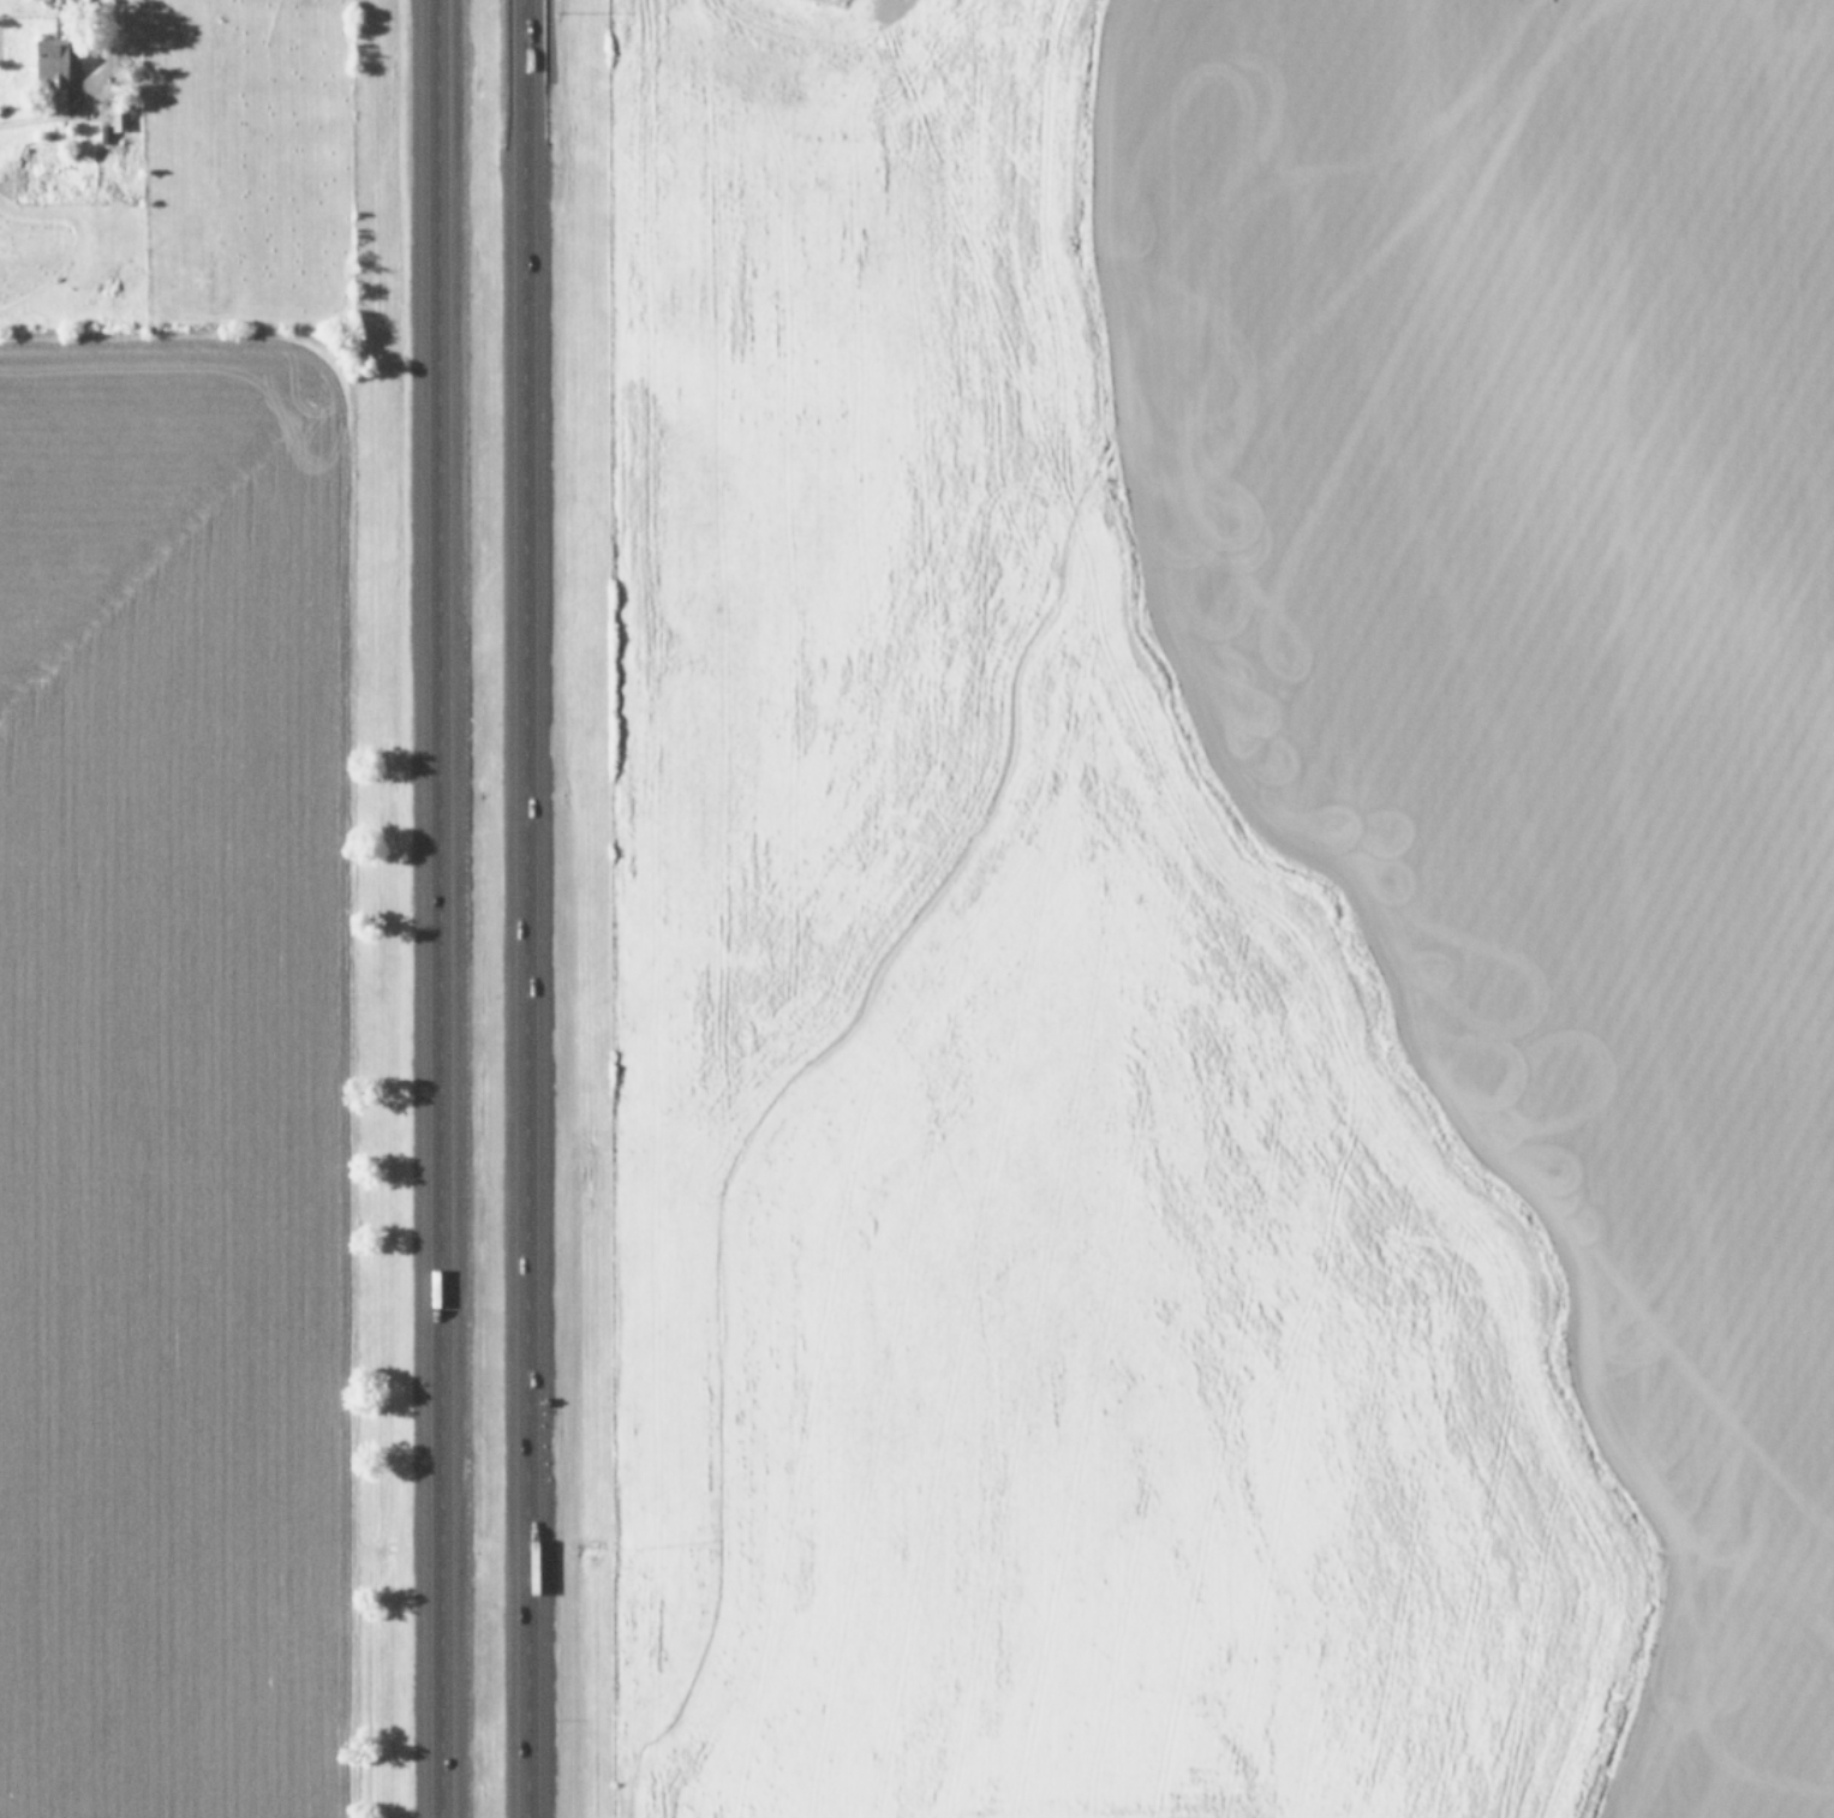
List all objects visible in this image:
road: (98, 31)
building: (50, 67)
building: (118, 114)
crop: (179, 908)
crop: (1233, 908)
road: (454, 909)
road: (526, 909)

